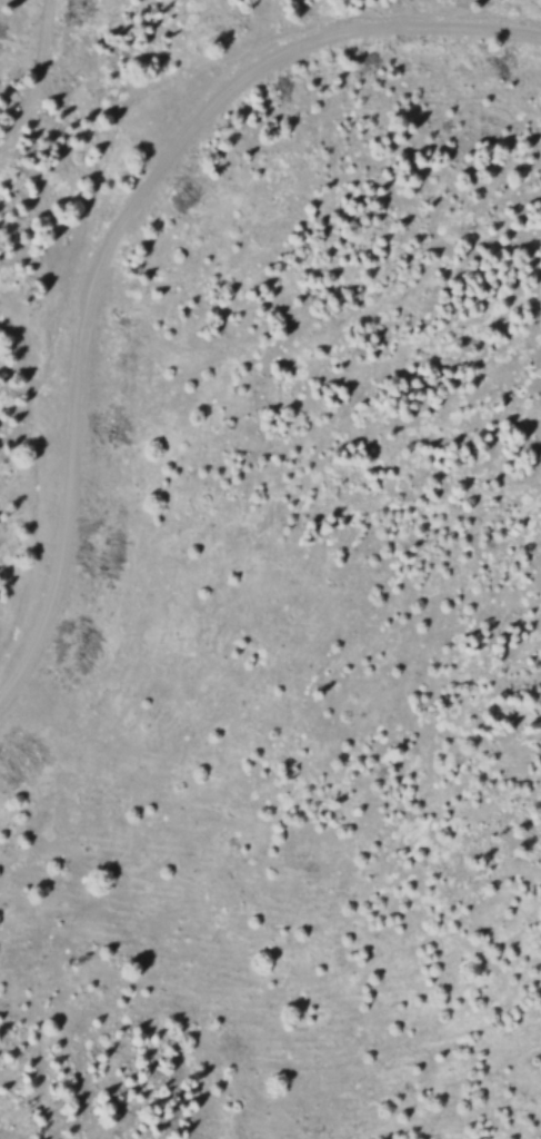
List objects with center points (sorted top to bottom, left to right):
road: (119, 224)

